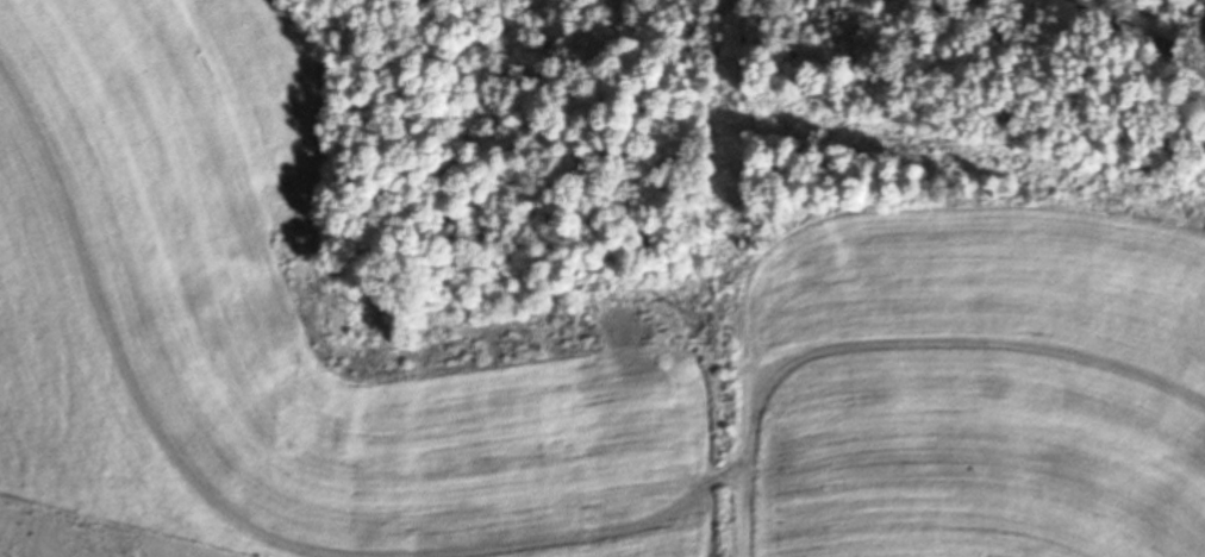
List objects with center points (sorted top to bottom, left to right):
road: (1141, 36)

